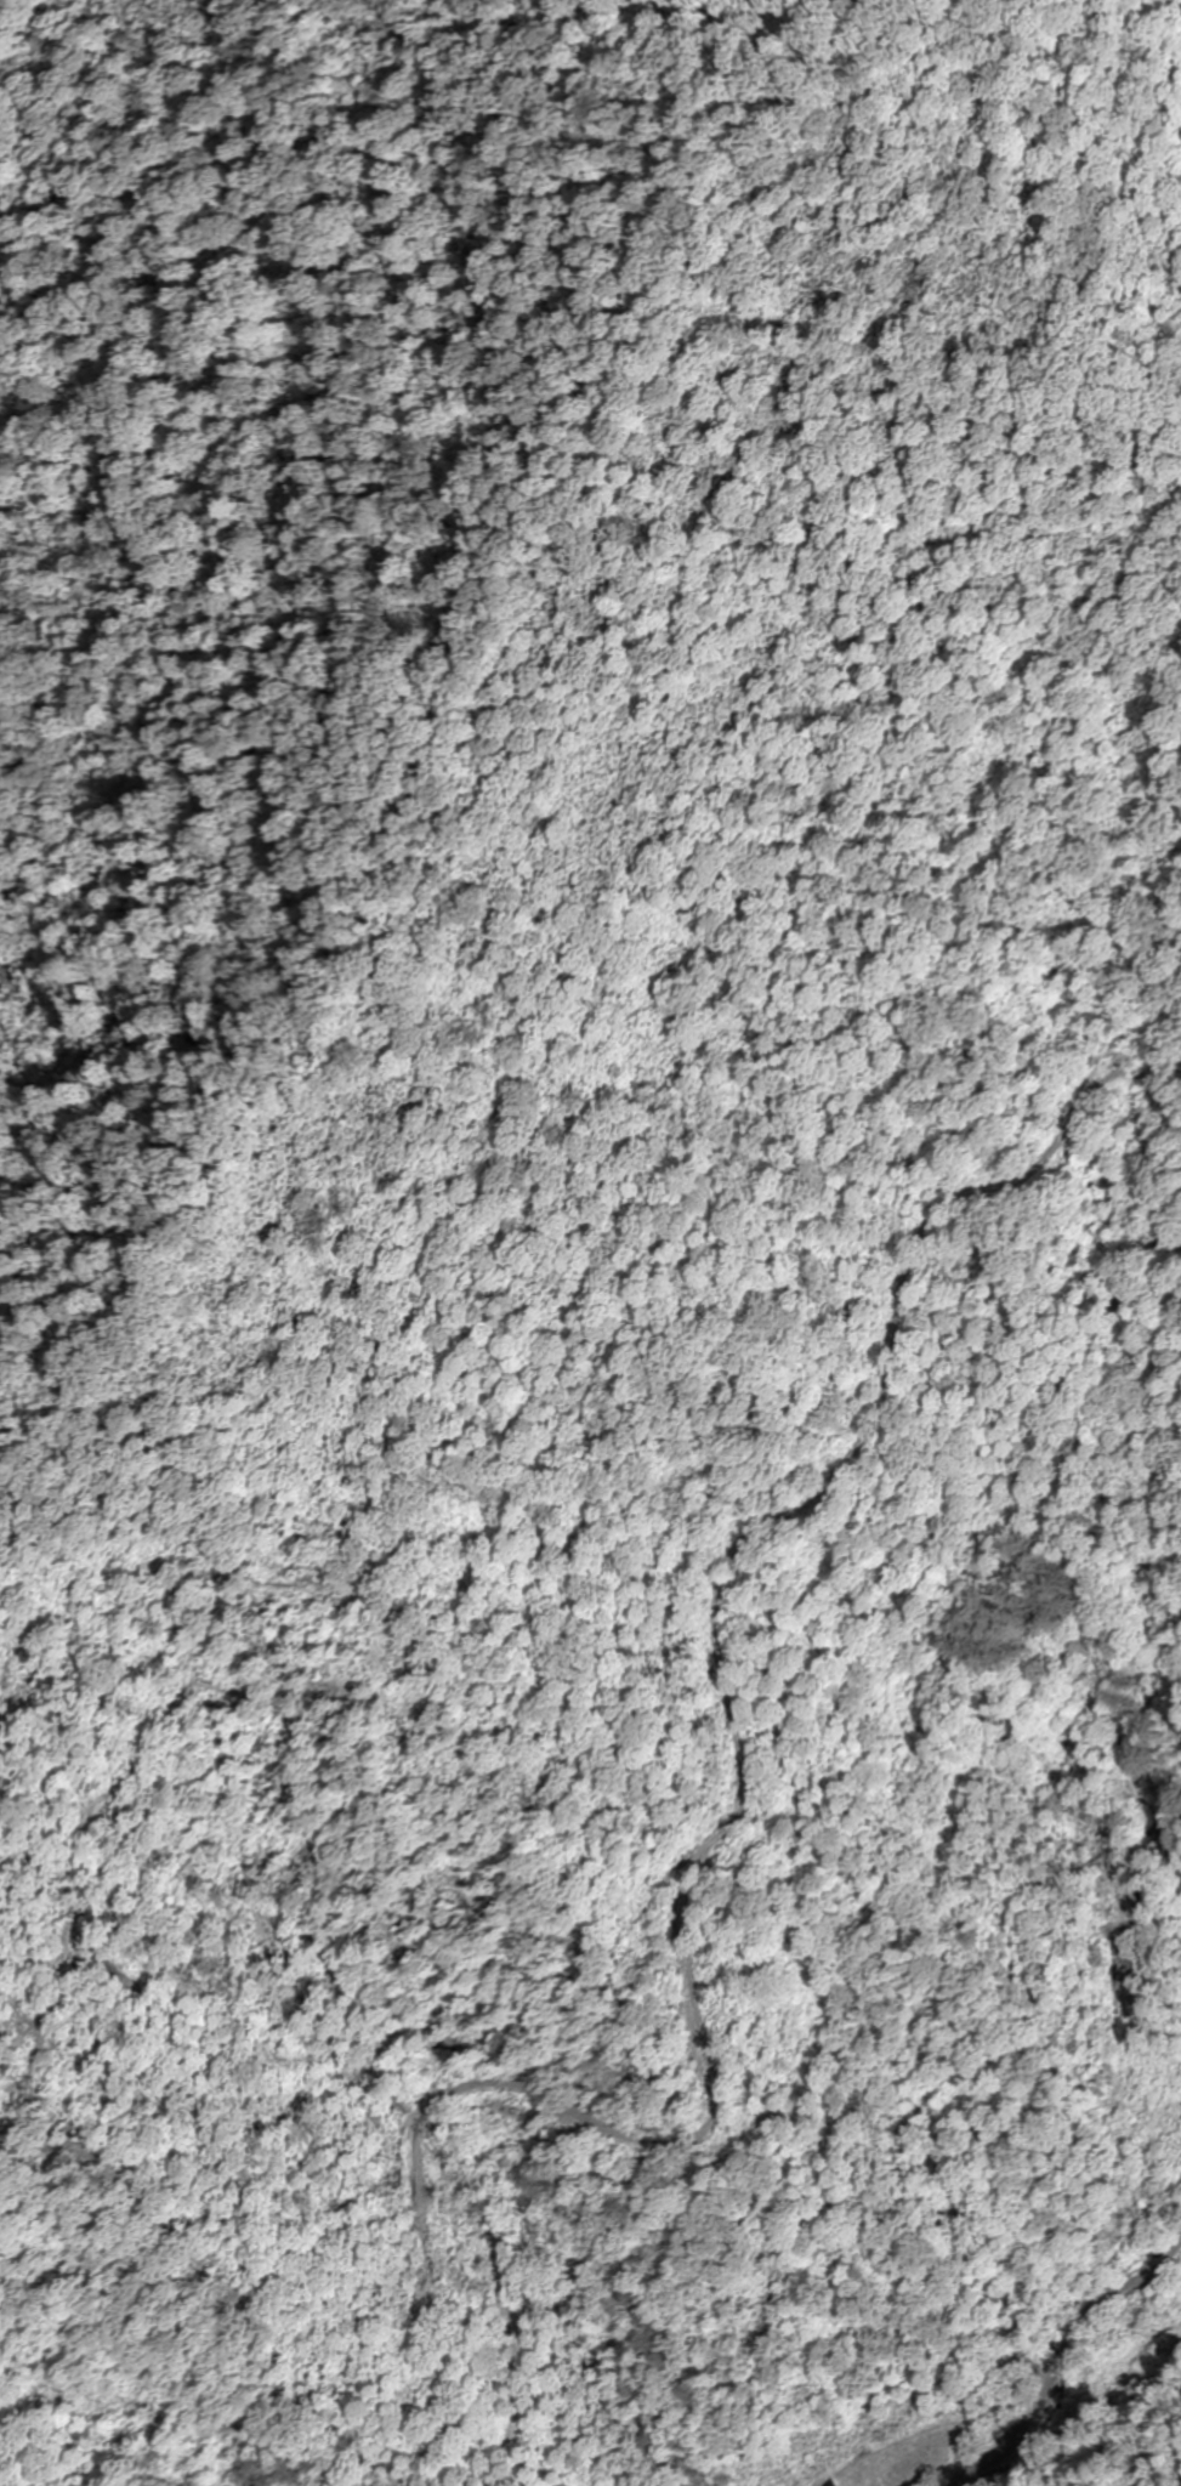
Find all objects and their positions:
building: (1095, 1912)
road: (1061, 2407)

